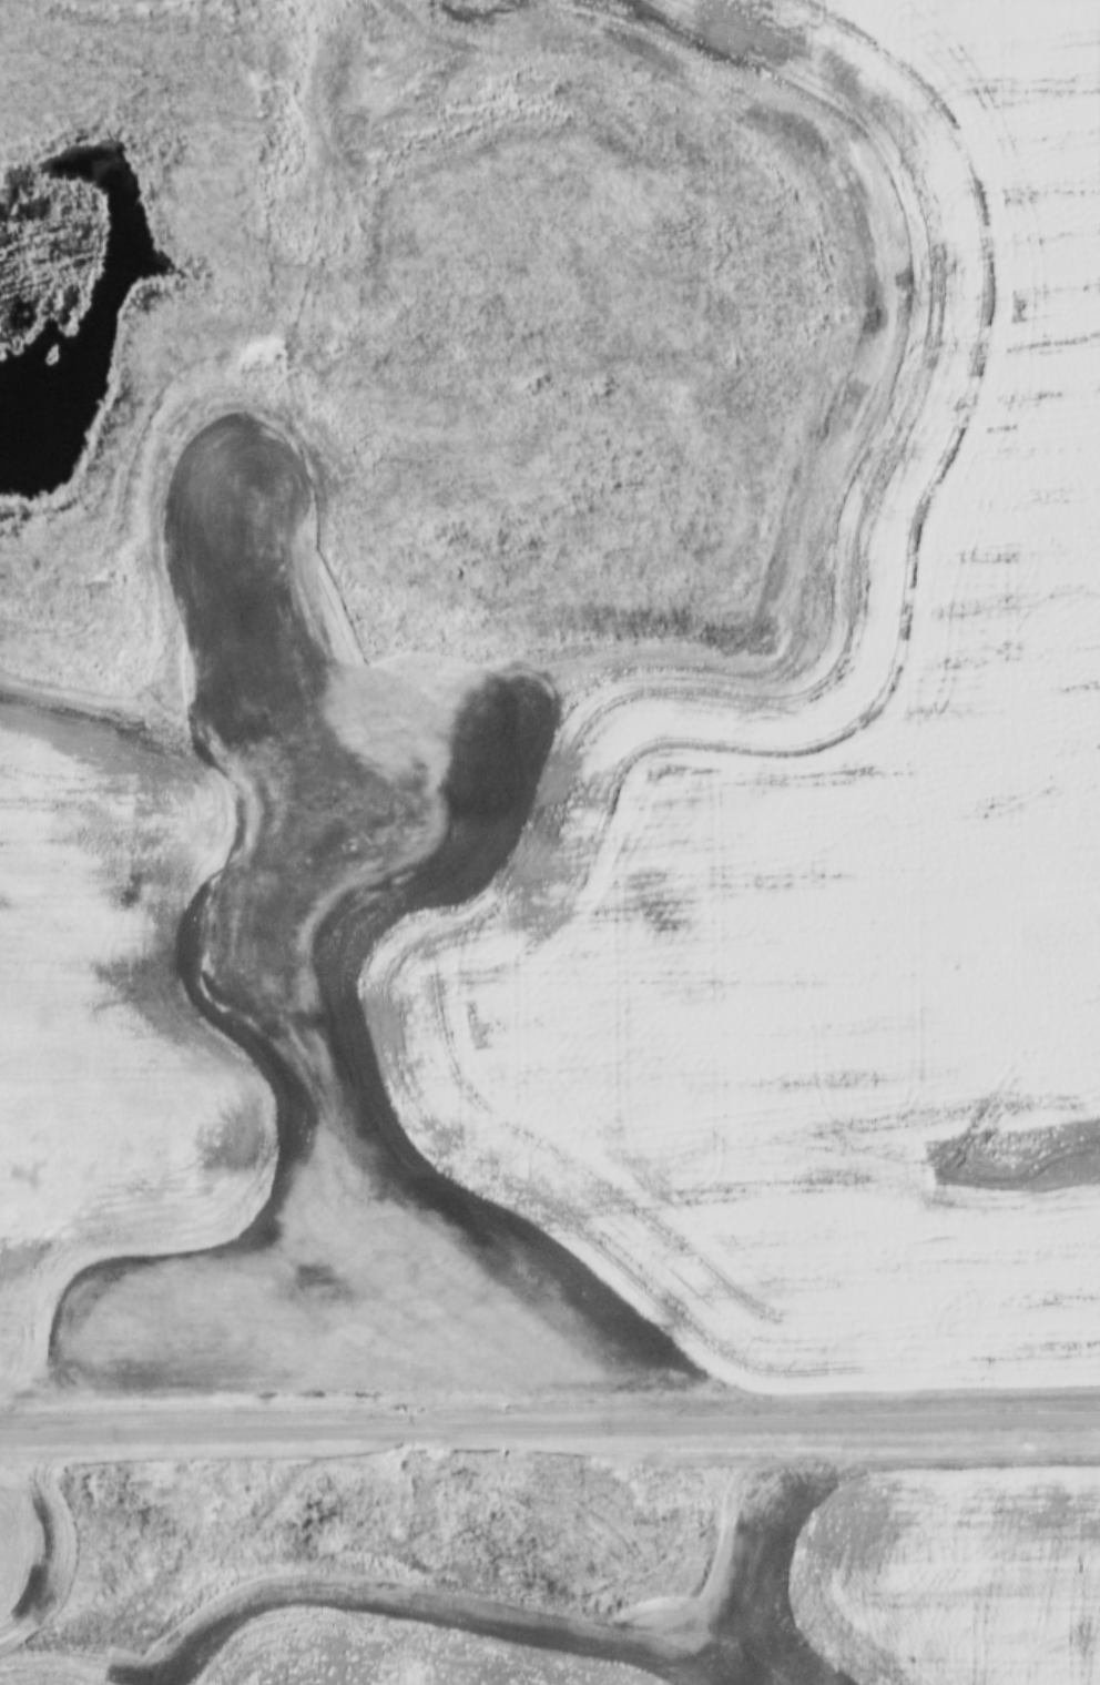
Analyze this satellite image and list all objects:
road: (550, 1428)

